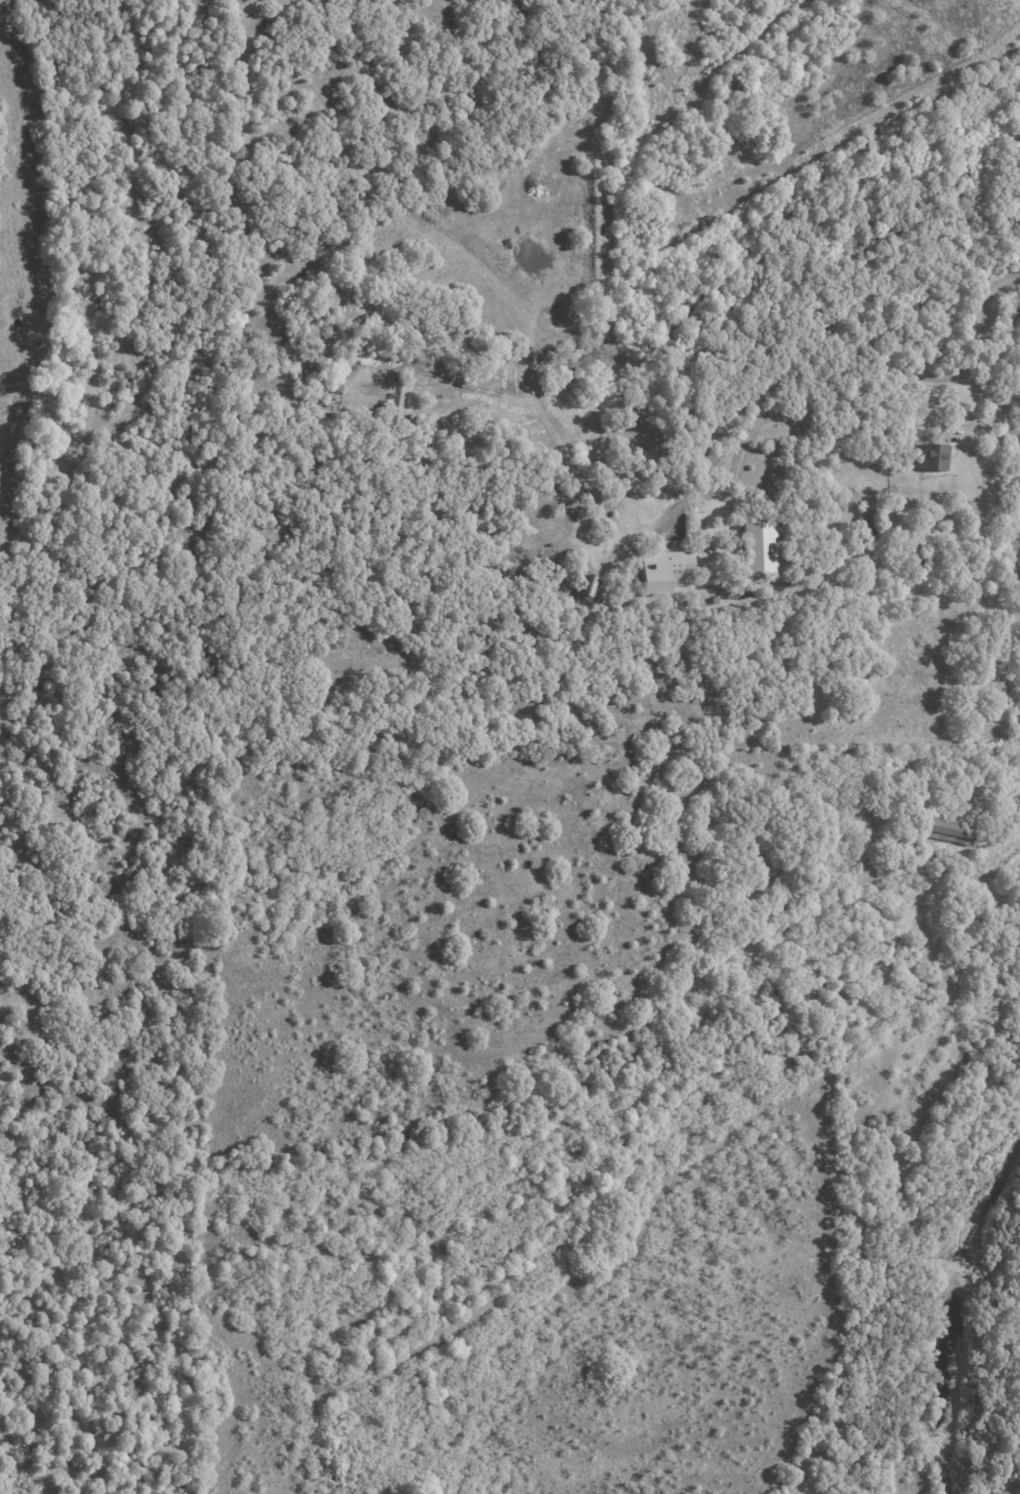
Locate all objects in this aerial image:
road: (871, 378)
road: (995, 409)
building: (934, 457)
building: (870, 524)
building: (762, 545)
building: (902, 548)
building: (915, 566)
building: (665, 568)
building: (588, 584)
building: (899, 589)
building: (741, 590)
building: (715, 600)
building: (699, 601)
building: (944, 828)

